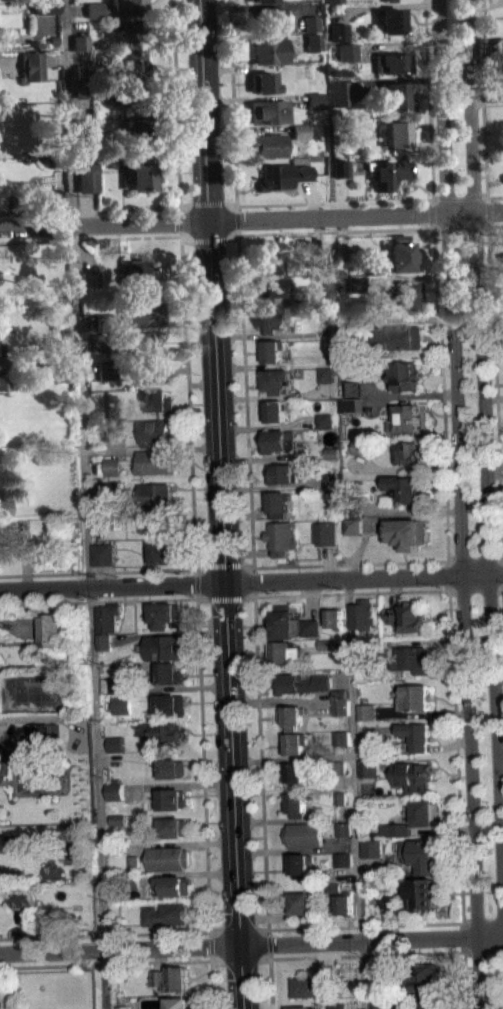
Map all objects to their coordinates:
building: (262, 1)
building: (333, 1)
building: (390, 1)
building: (45, 6)
building: (115, 8)
building: (268, 17)
building: (392, 21)
building: (309, 22)
building: (339, 31)
building: (127, 33)
building: (312, 41)
building: (79, 42)
building: (80, 49)
building: (268, 50)
building: (348, 51)
building: (131, 60)
building: (393, 61)
building: (32, 65)
building: (52, 65)
building: (83, 71)
building: (261, 82)
building: (83, 88)
building: (339, 92)
building: (126, 93)
building: (394, 94)
building: (315, 99)
road: (483, 105)
building: (267, 110)
building: (84, 126)
building: (137, 128)
building: (299, 128)
road: (177, 131)
building: (395, 135)
building: (300, 138)
building: (265, 144)
building: (340, 167)
building: (387, 171)
building: (282, 175)
building: (138, 179)
building: (84, 184)
road: (495, 195)
building: (60, 198)
road: (362, 200)
building: (60, 208)
road: (90, 210)
road: (251, 217)
road: (490, 223)
road: (319, 231)
road: (91, 238)
building: (343, 255)
building: (400, 255)
building: (321, 256)
building: (271, 262)
building: (340, 269)
building: (141, 272)
building: (90, 278)
building: (356, 283)
building: (268, 288)
building: (404, 294)
building: (324, 312)
building: (142, 313)
building: (104, 318)
building: (272, 318)
building: (346, 327)
building: (399, 337)
building: (123, 341)
building: (273, 350)
building: (1, 362)
building: (107, 370)
building: (152, 370)
building: (324, 374)
building: (403, 375)
building: (277, 380)
building: (4, 381)
building: (350, 388)
road: (495, 392)
building: (351, 396)
building: (111, 397)
building: (158, 400)
building: (349, 405)
building: (274, 411)
building: (350, 411)
building: (404, 417)
building: (325, 420)
building: (324, 427)
building: (112, 432)
road: (189, 432)
building: (156, 433)
building: (278, 439)
building: (112, 440)
building: (360, 446)
road: (484, 448)
building: (331, 452)
building: (408, 452)
building: (360, 454)
building: (155, 462)
building: (113, 466)
building: (281, 473)
building: (332, 480)
building: (112, 488)
building: (408, 489)
building: (156, 493)
building: (333, 495)
building: (112, 496)
building: (279, 503)
road: (86, 504)
road: (219, 504)
road: (248, 504)
road: (445, 504)
road: (459, 504)
building: (355, 506)
building: (5, 507)
building: (162, 522)
building: (354, 525)
building: (408, 532)
building: (326, 533)
building: (356, 533)
building: (282, 538)
building: (162, 552)
building: (102, 554)
road: (489, 558)
road: (349, 563)
road: (97, 571)
road: (251, 582)
road: (476, 589)
road: (351, 591)
road: (112, 600)
building: (163, 614)
building: (364, 614)
building: (107, 617)
building: (408, 617)
building: (335, 618)
building: (285, 622)
building: (311, 628)
building: (48, 630)
building: (104, 641)
building: (377, 643)
building: (329, 644)
building: (163, 647)
building: (286, 652)
building: (414, 659)
building: (170, 673)
building: (302, 683)
building: (116, 685)
park: (40, 691)
building: (305, 691)
building: (340, 693)
building: (415, 697)
building: (121, 705)
building: (172, 705)
building: (341, 706)
building: (367, 711)
building: (294, 716)
building: (368, 719)
building: (162, 730)
building: (417, 735)
building: (43, 737)
building: (341, 737)
building: (294, 743)
building: (114, 744)
building: (341, 745)
road: (201, 750)
building: (115, 751)
building: (368, 753)
building: (340, 767)
building: (368, 767)
building: (173, 768)
building: (295, 774)
building: (411, 776)
building: (113, 791)
road: (356, 793)
building: (340, 797)
building: (173, 799)
building: (297, 804)
building: (425, 812)
building: (117, 820)
building: (117, 827)
building: (174, 827)
building: (343, 829)
building: (397, 829)
building: (304, 834)
building: (67, 836)
building: (397, 837)
building: (372, 848)
building: (423, 854)
building: (168, 858)
building: (343, 860)
building: (134, 862)
building: (299, 865)
building: (345, 872)
building: (131, 879)
building: (175, 884)
building: (334, 887)
building: (425, 892)
building: (23, 896)
building: (388, 899)
building: (345, 903)
building: (302, 905)
building: (389, 907)
building: (165, 913)
road: (482, 921)
road: (350, 926)
road: (104, 934)
road: (209, 938)
road: (251, 944)
road: (483, 950)
road: (365, 954)
road: (253, 958)
road: (111, 962)
road: (210, 970)
building: (377, 976)
building: (172, 978)
building: (426, 978)
building: (318, 983)
building: (159, 985)
building: (179, 1003)
building: (378, 1003)
building: (429, 1003)
building: (338, 1006)
building: (123, 1007)
building: (303, 1007)

